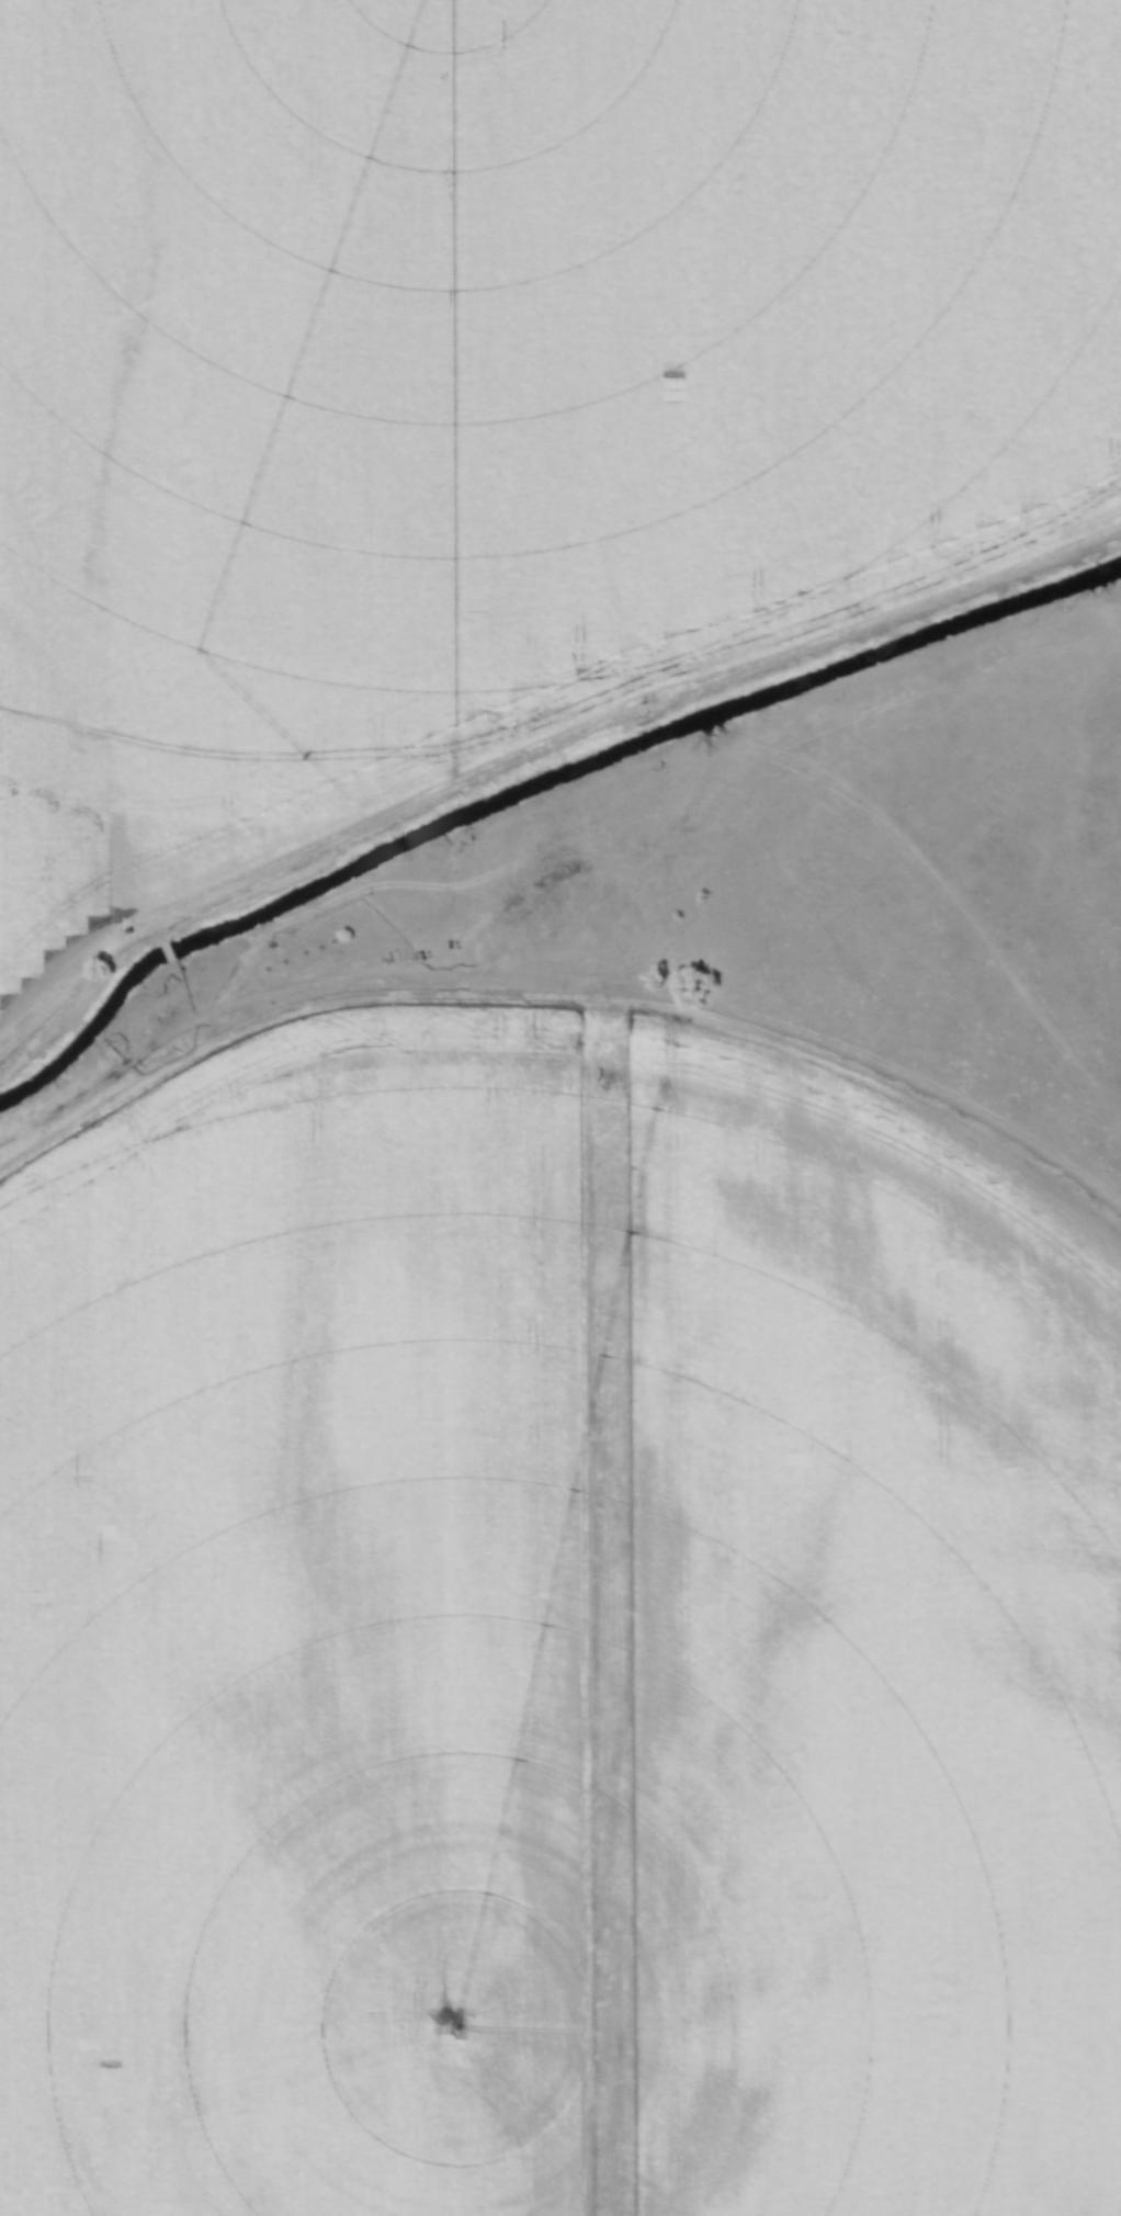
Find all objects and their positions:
crop: (499, 375)
road: (539, 750)
crop: (297, 1638)
crop: (872, 1660)

